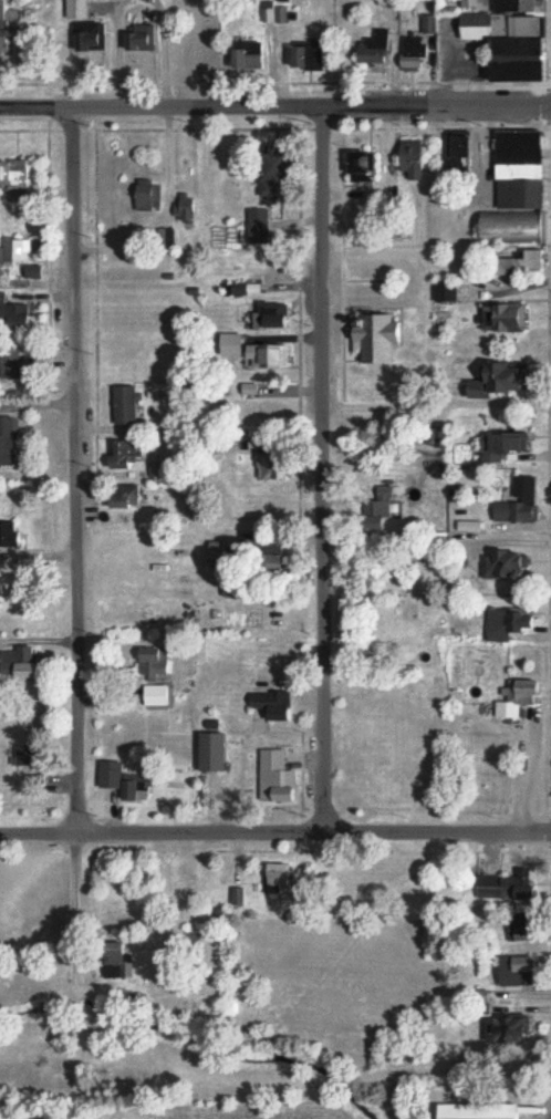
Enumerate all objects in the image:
building: (533, 6)
building: (79, 9)
building: (274, 14)
building: (428, 24)
building: (480, 27)
building: (4, 29)
building: (91, 37)
building: (143, 38)
building: (376, 48)
building: (527, 52)
building: (414, 53)
building: (250, 56)
building: (312, 56)
road: (274, 106)
road: (547, 106)
building: (519, 128)
building: (520, 146)
building: (461, 149)
building: (414, 158)
building: (365, 163)
building: (279, 173)
building: (19, 180)
building: (149, 195)
building: (185, 208)
building: (259, 226)
building: (516, 228)
building: (17, 252)
building: (527, 263)
building: (33, 271)
building: (248, 289)
building: (446, 291)
building: (15, 314)
building: (274, 315)
building: (506, 319)
building: (380, 338)
building: (258, 352)
building: (10, 365)
building: (503, 380)
building: (127, 405)
building: (7, 442)
building: (505, 445)
building: (126, 455)
building: (274, 468)
road: (321, 469)
road: (74, 473)
road: (549, 475)
building: (387, 493)
building: (132, 499)
building: (520, 502)
building: (384, 510)
building: (471, 526)
building: (7, 535)
building: (510, 566)
building: (509, 623)
building: (154, 663)
building: (23, 664)
building: (157, 695)
building: (519, 698)
building: (275, 705)
building: (217, 753)
building: (279, 778)
building: (125, 780)
road: (274, 832)
road: (550, 833)
building: (280, 878)
building: (510, 885)
building: (238, 897)
building: (526, 926)
building: (521, 971)
building: (517, 1030)
building: (464, 1111)
crop: (34, 1117)

